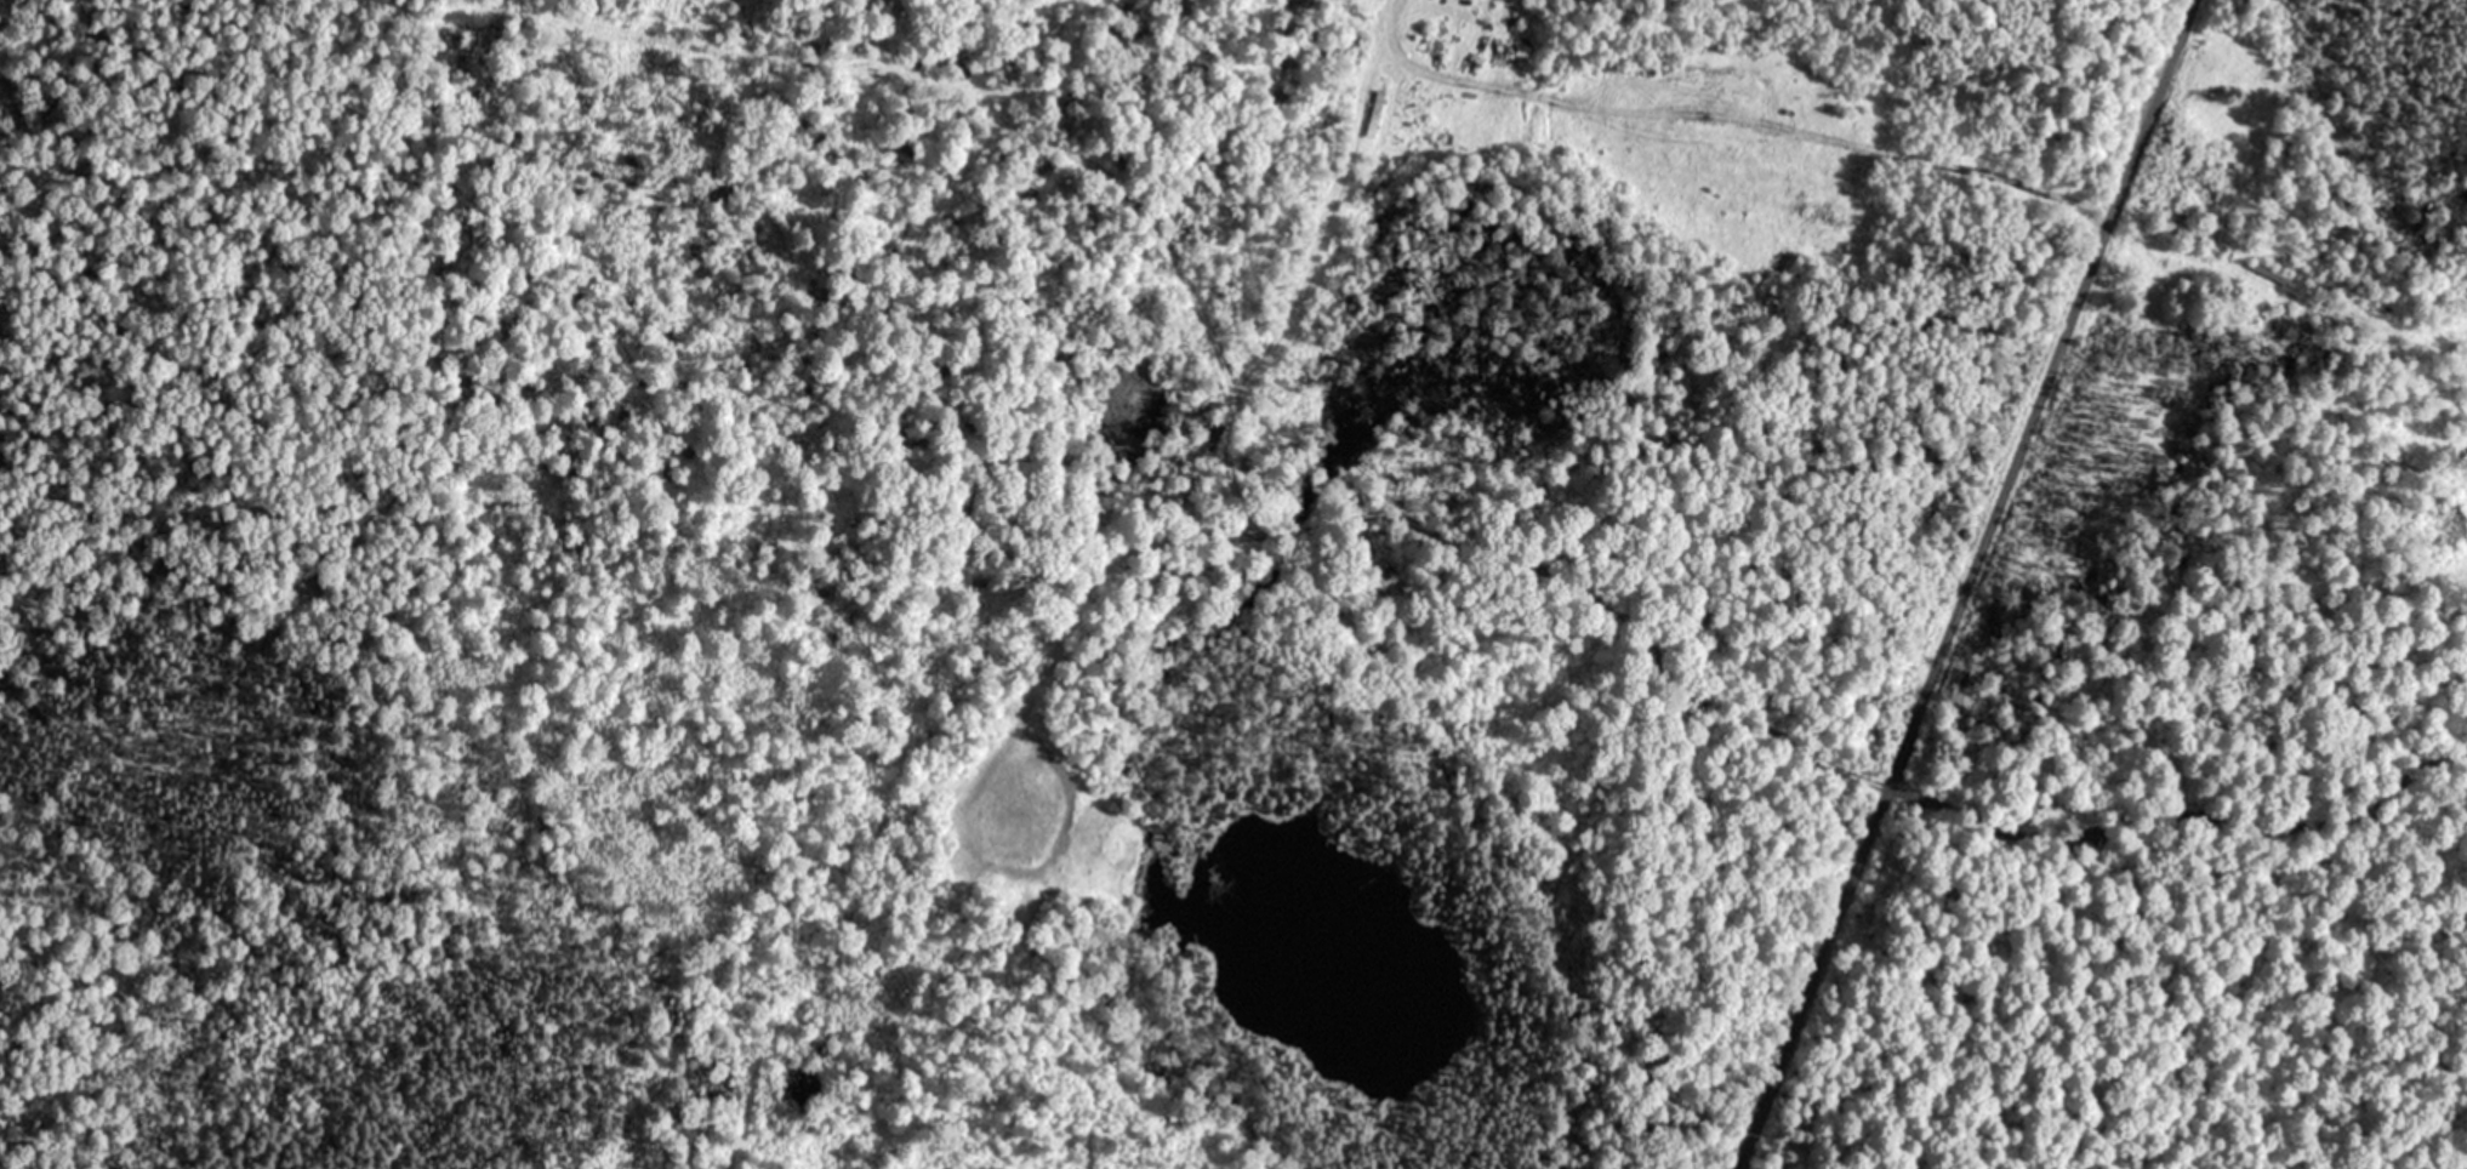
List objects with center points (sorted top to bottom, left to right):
road: (1961, 584)

